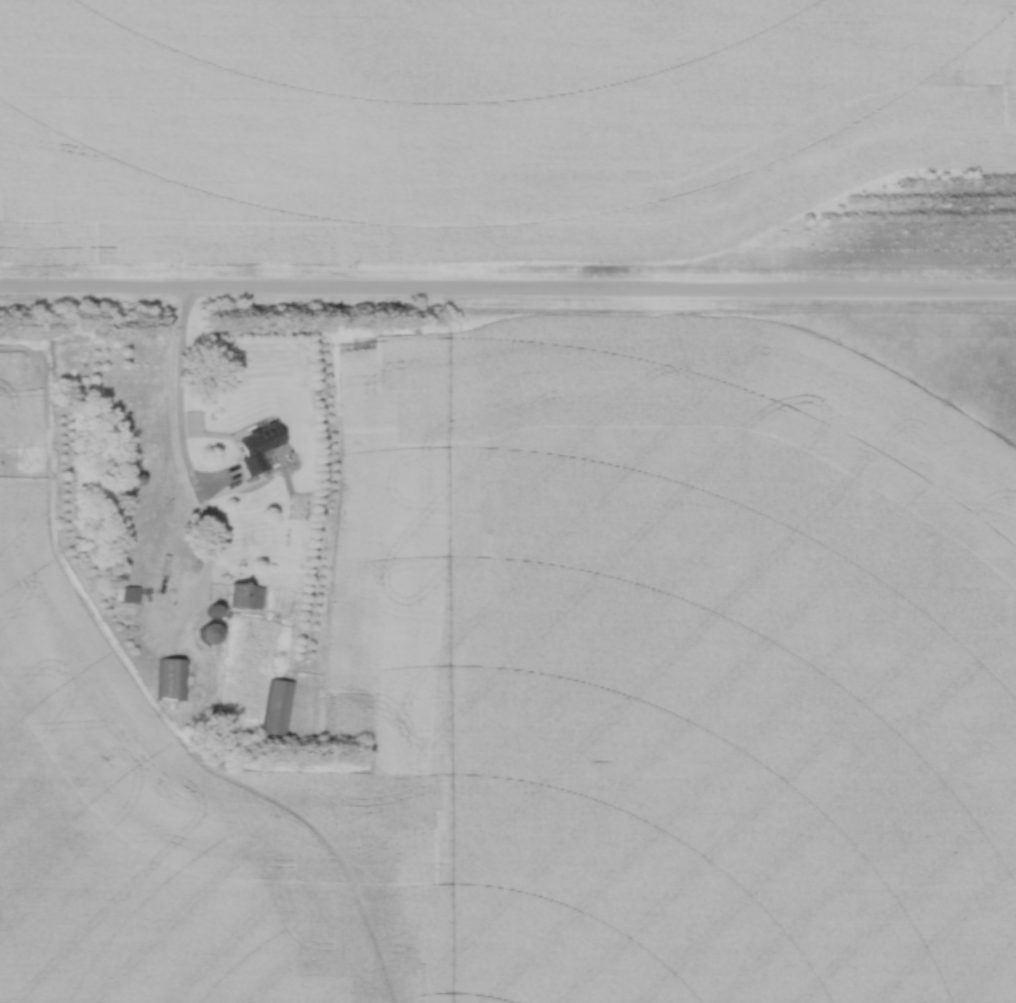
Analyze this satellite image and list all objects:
road: (508, 294)
building: (254, 446)
road: (190, 470)
building: (134, 596)
building: (245, 599)
building: (204, 635)
building: (171, 681)
building: (274, 709)

